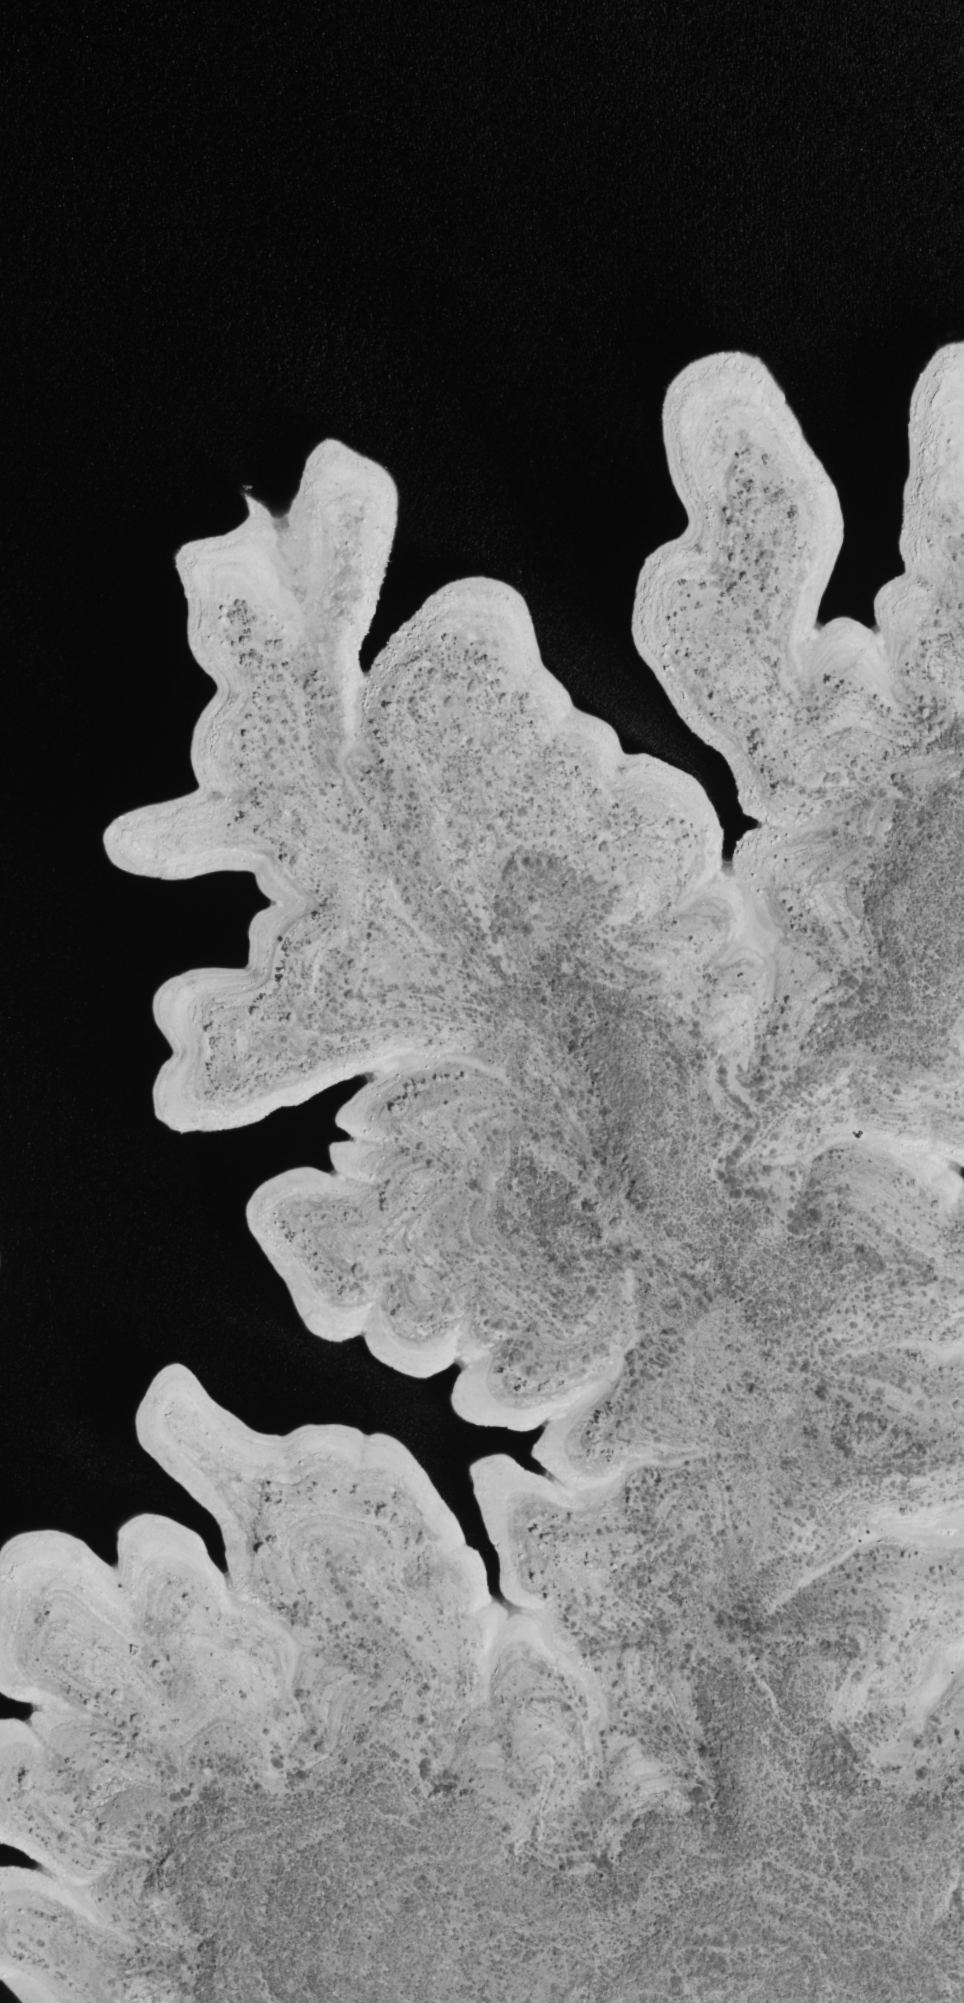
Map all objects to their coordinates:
park: (4, 1356)

